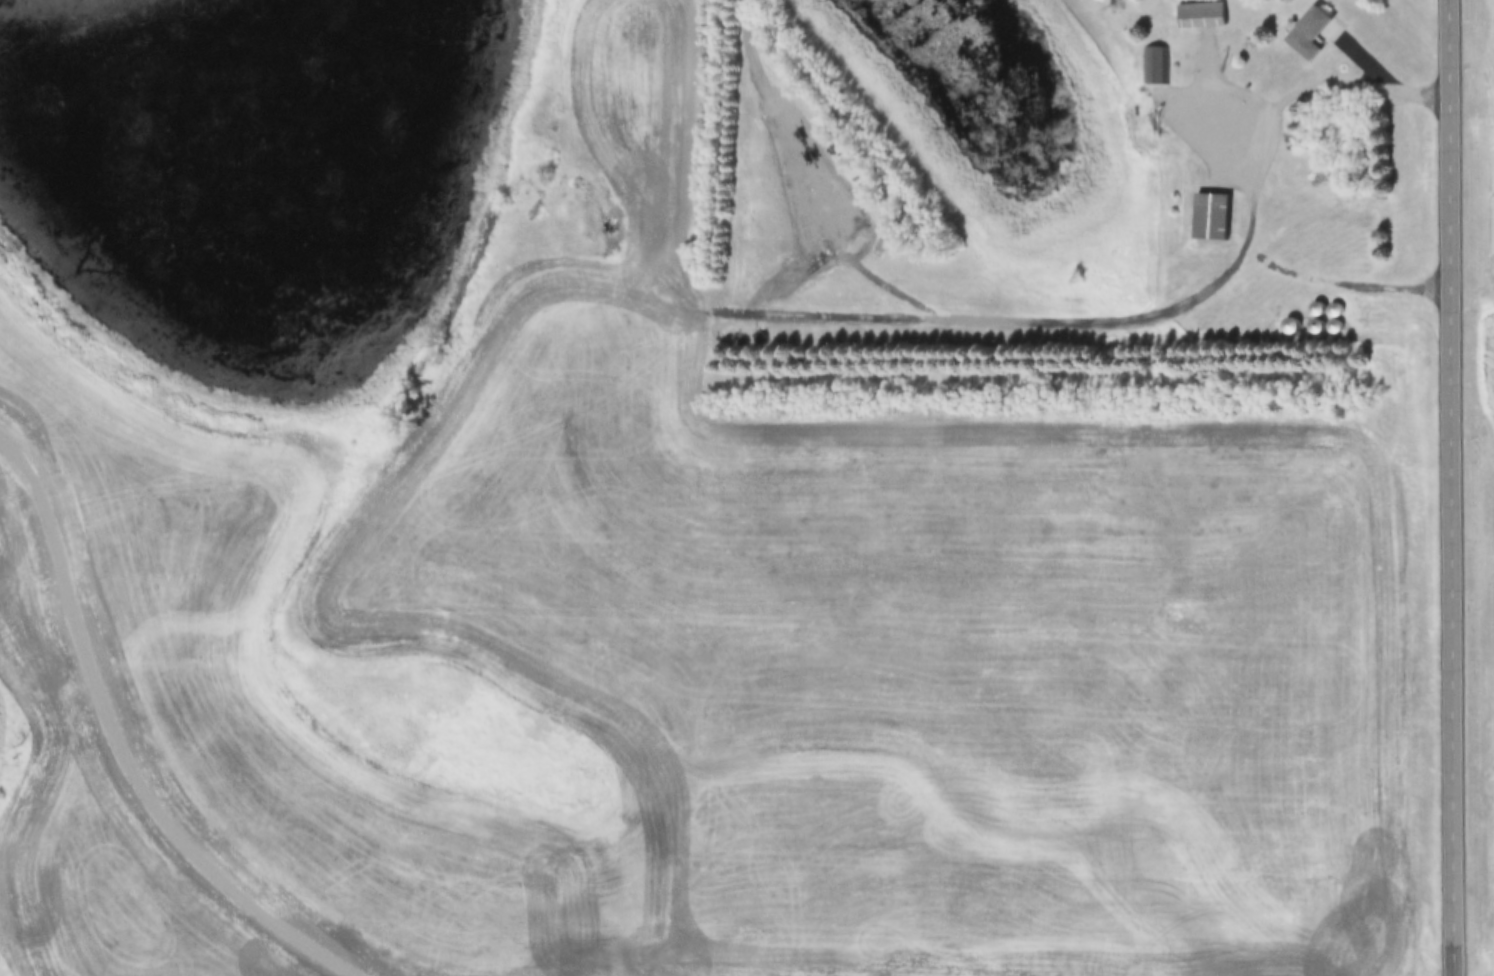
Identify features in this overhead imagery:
building: (1199, 17)
building: (1310, 23)
road: (1366, 55)
building: (1153, 69)
road: (1319, 84)
building: (1209, 217)
building: (877, 249)
road: (1454, 487)
road: (112, 758)

